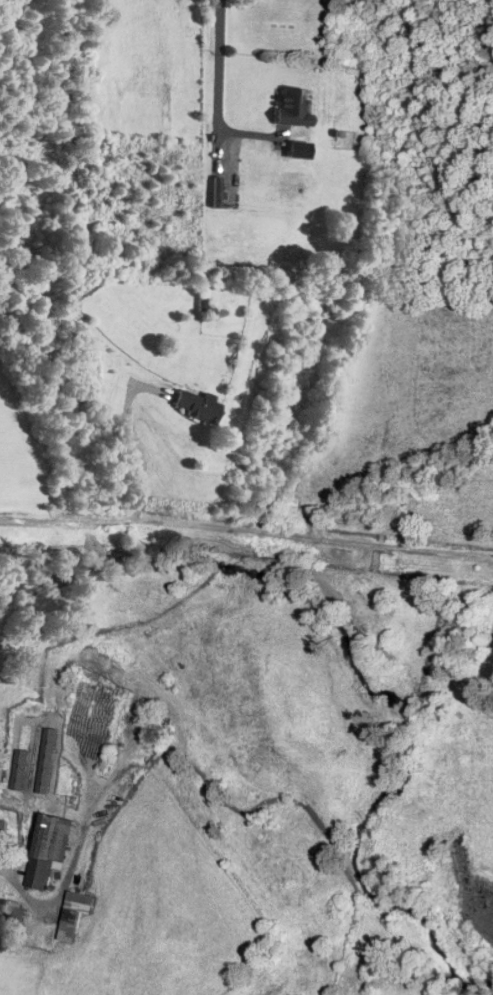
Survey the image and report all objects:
road: (218, 66)
building: (293, 109)
building: (299, 151)
building: (205, 306)
building: (197, 408)
road: (129, 446)
road: (247, 531)
building: (35, 764)
building: (1, 831)
building: (50, 849)
road: (53, 898)
building: (9, 908)
building: (75, 914)

